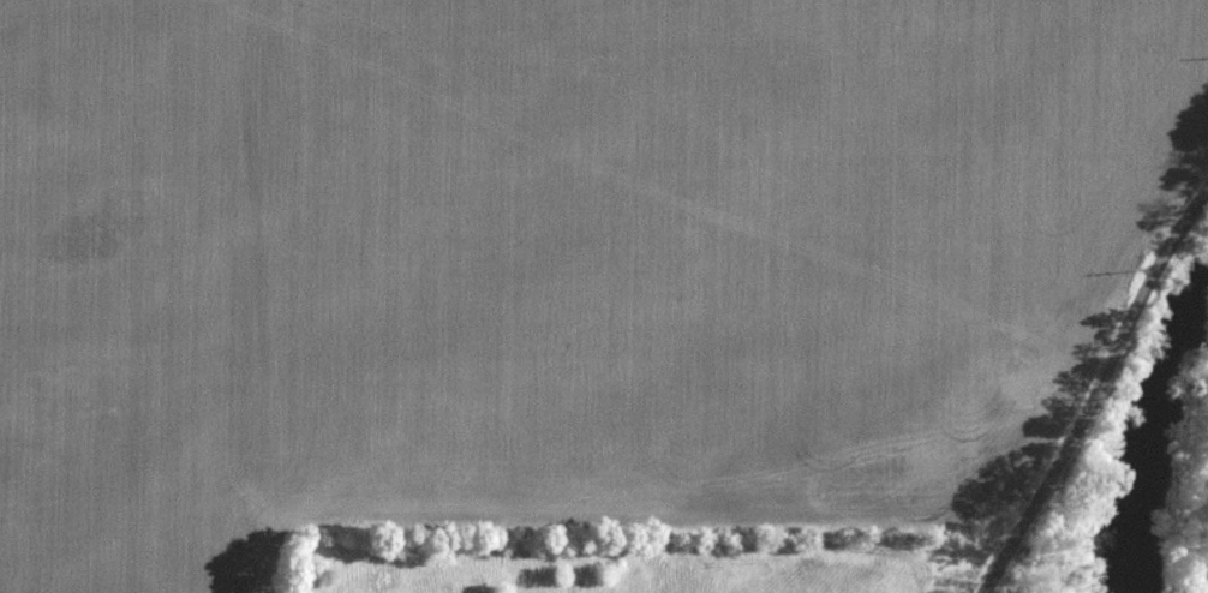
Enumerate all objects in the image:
road: (1096, 390)
river: (1152, 436)

